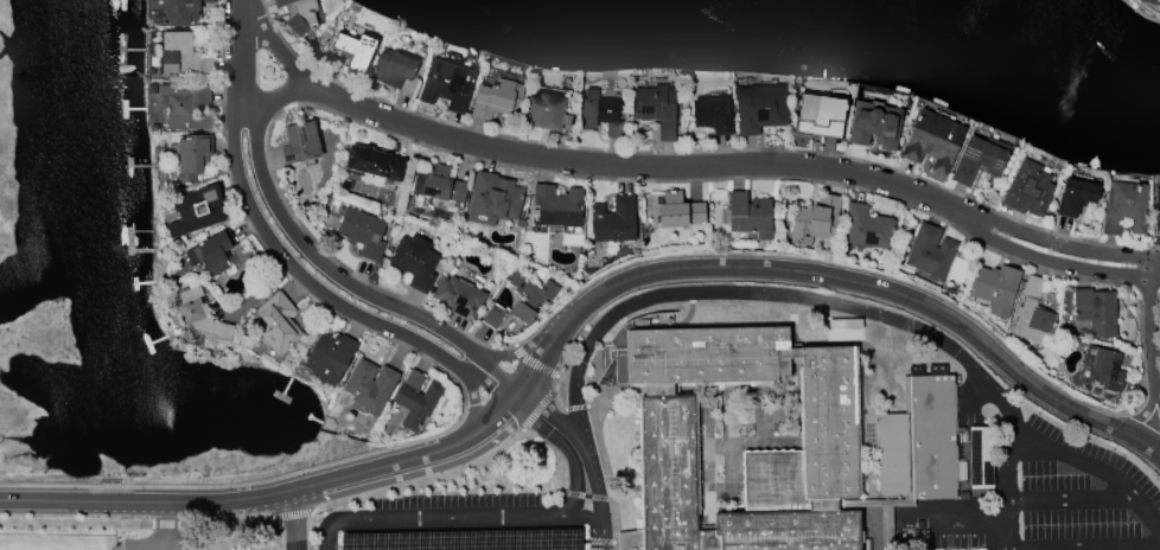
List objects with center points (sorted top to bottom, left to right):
building: (1152, 2)
building: (180, 11)
building: (298, 14)
road: (240, 33)
road: (275, 46)
building: (353, 51)
building: (181, 57)
building: (395, 72)
building: (446, 85)
road: (279, 92)
building: (496, 100)
building: (185, 107)
building: (759, 108)
building: (655, 109)
building: (600, 110)
building: (544, 111)
building: (709, 116)
building: (817, 116)
building: (873, 124)
building: (932, 141)
building: (299, 143)
building: (191, 156)
building: (979, 160)
building: (372, 164)
road: (640, 164)
building: (441, 185)
building: (1027, 190)
building: (1073, 197)
building: (492, 199)
building: (556, 207)
building: (1124, 209)
building: (195, 211)
building: (677, 211)
building: (748, 216)
building: (815, 220)
building: (613, 222)
building: (1156, 223)
building: (867, 228)
building: (362, 234)
road: (1063, 239)
building: (211, 252)
building: (930, 254)
road: (1058, 257)
building: (414, 262)
road: (329, 269)
road: (310, 280)
building: (995, 288)
road: (861, 296)
building: (458, 298)
building: (520, 302)
road: (856, 306)
road: (575, 311)
building: (1096, 312)
building: (199, 314)
building: (1032, 314)
building: (279, 325)
road: (1149, 330)
road: (520, 353)
building: (327, 358)
road: (533, 364)
building: (1102, 369)
building: (369, 386)
road: (461, 386)
road: (553, 396)
building: (415, 401)
road: (476, 404)
road: (575, 407)
road: (536, 412)
building: (828, 421)
building: (919, 439)
road: (565, 448)
building: (981, 455)
road: (585, 456)
road: (604, 472)
road: (402, 486)
road: (1008, 486)
parking lot: (1039, 488)
road: (547, 494)
road: (585, 497)
road: (1070, 498)
road: (607, 499)
road: (542, 510)
road: (311, 512)
road: (291, 516)
road: (165, 517)
road: (450, 517)
road: (76, 519)
road: (269, 519)
road: (297, 519)
road: (166, 520)
road: (241, 520)
road: (954, 522)
parking lot: (455, 525)
road: (153, 541)
building: (466, 541)
road: (599, 542)
parking lot: (151, 543)
road: (455, 544)
road: (1084, 544)

